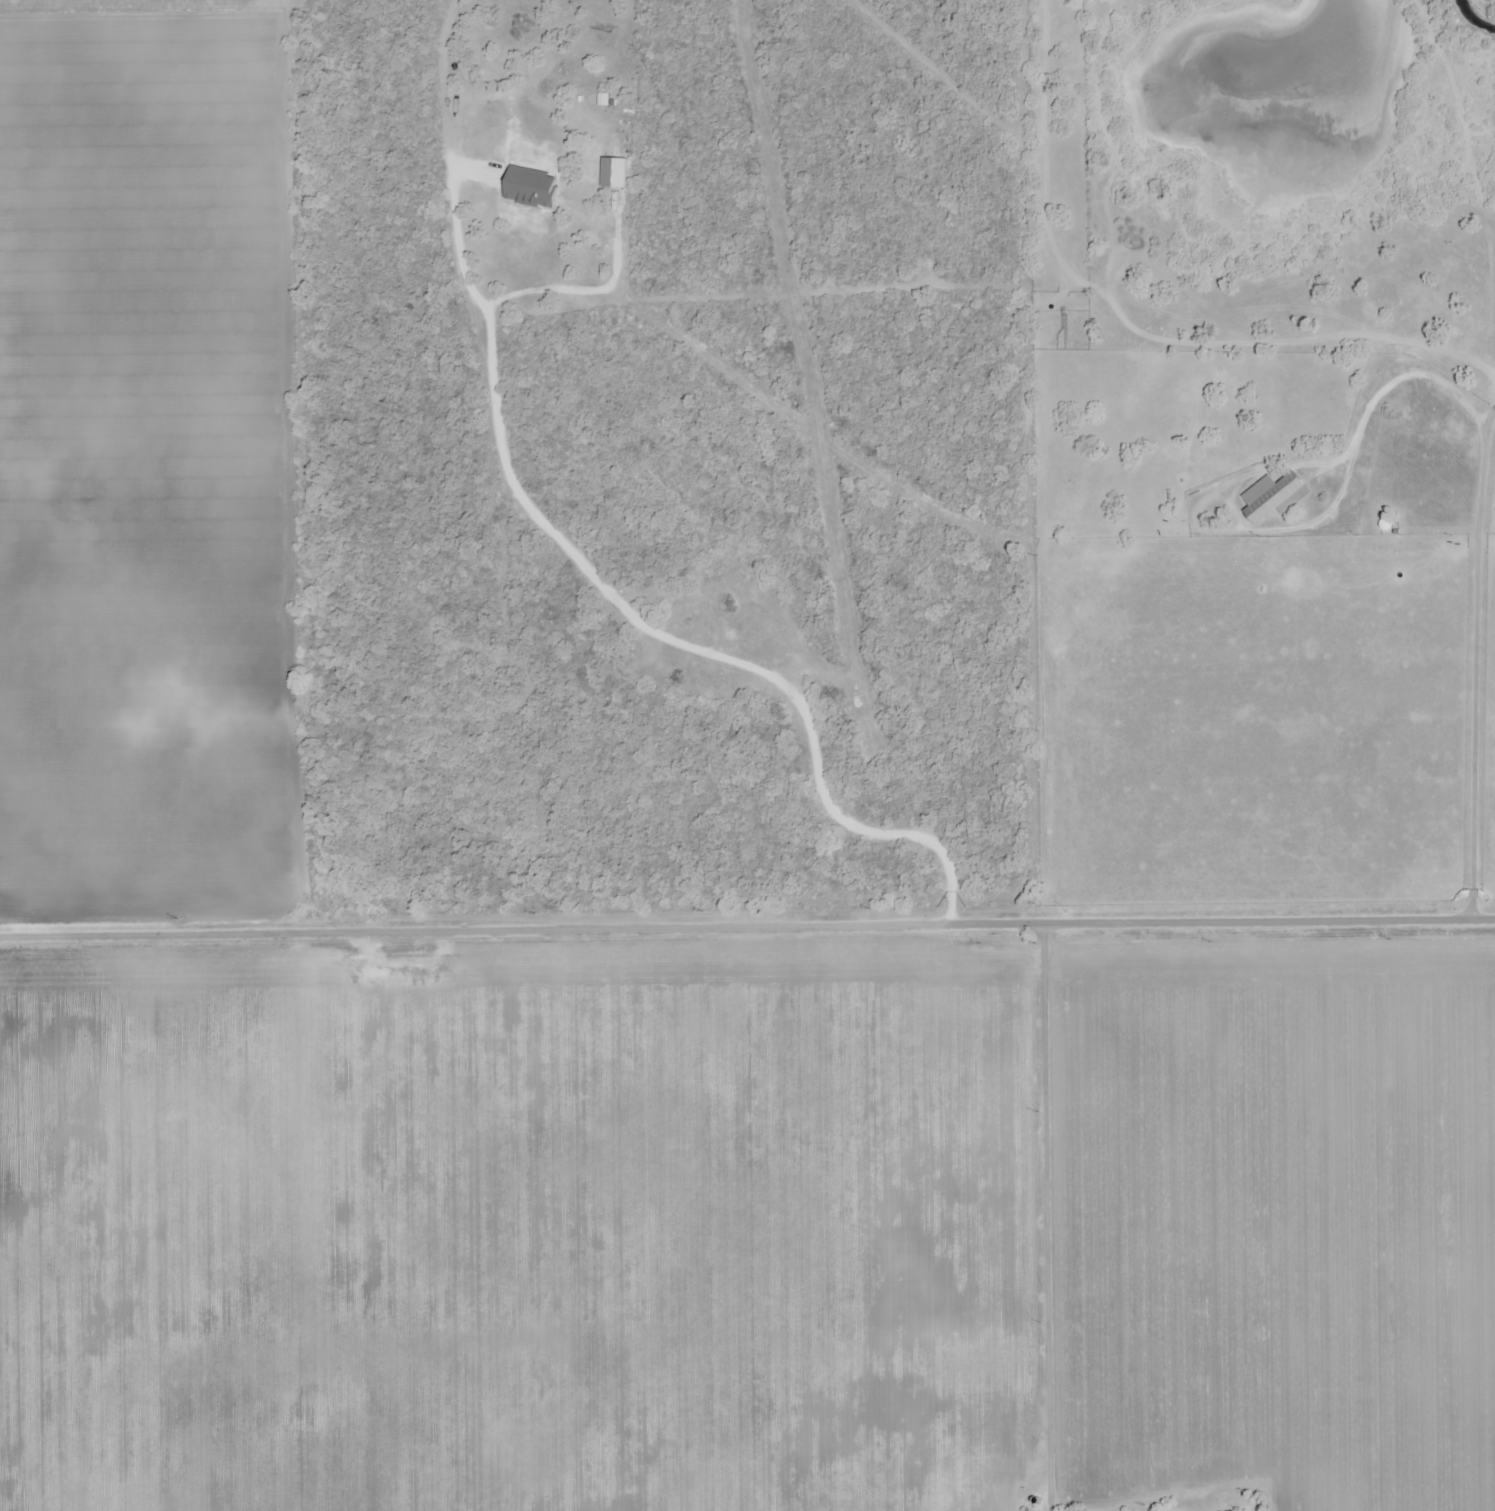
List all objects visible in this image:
building: (1274, 496)
road: (625, 612)
road: (908, 925)
road: (161, 939)
road: (1047, 1217)

